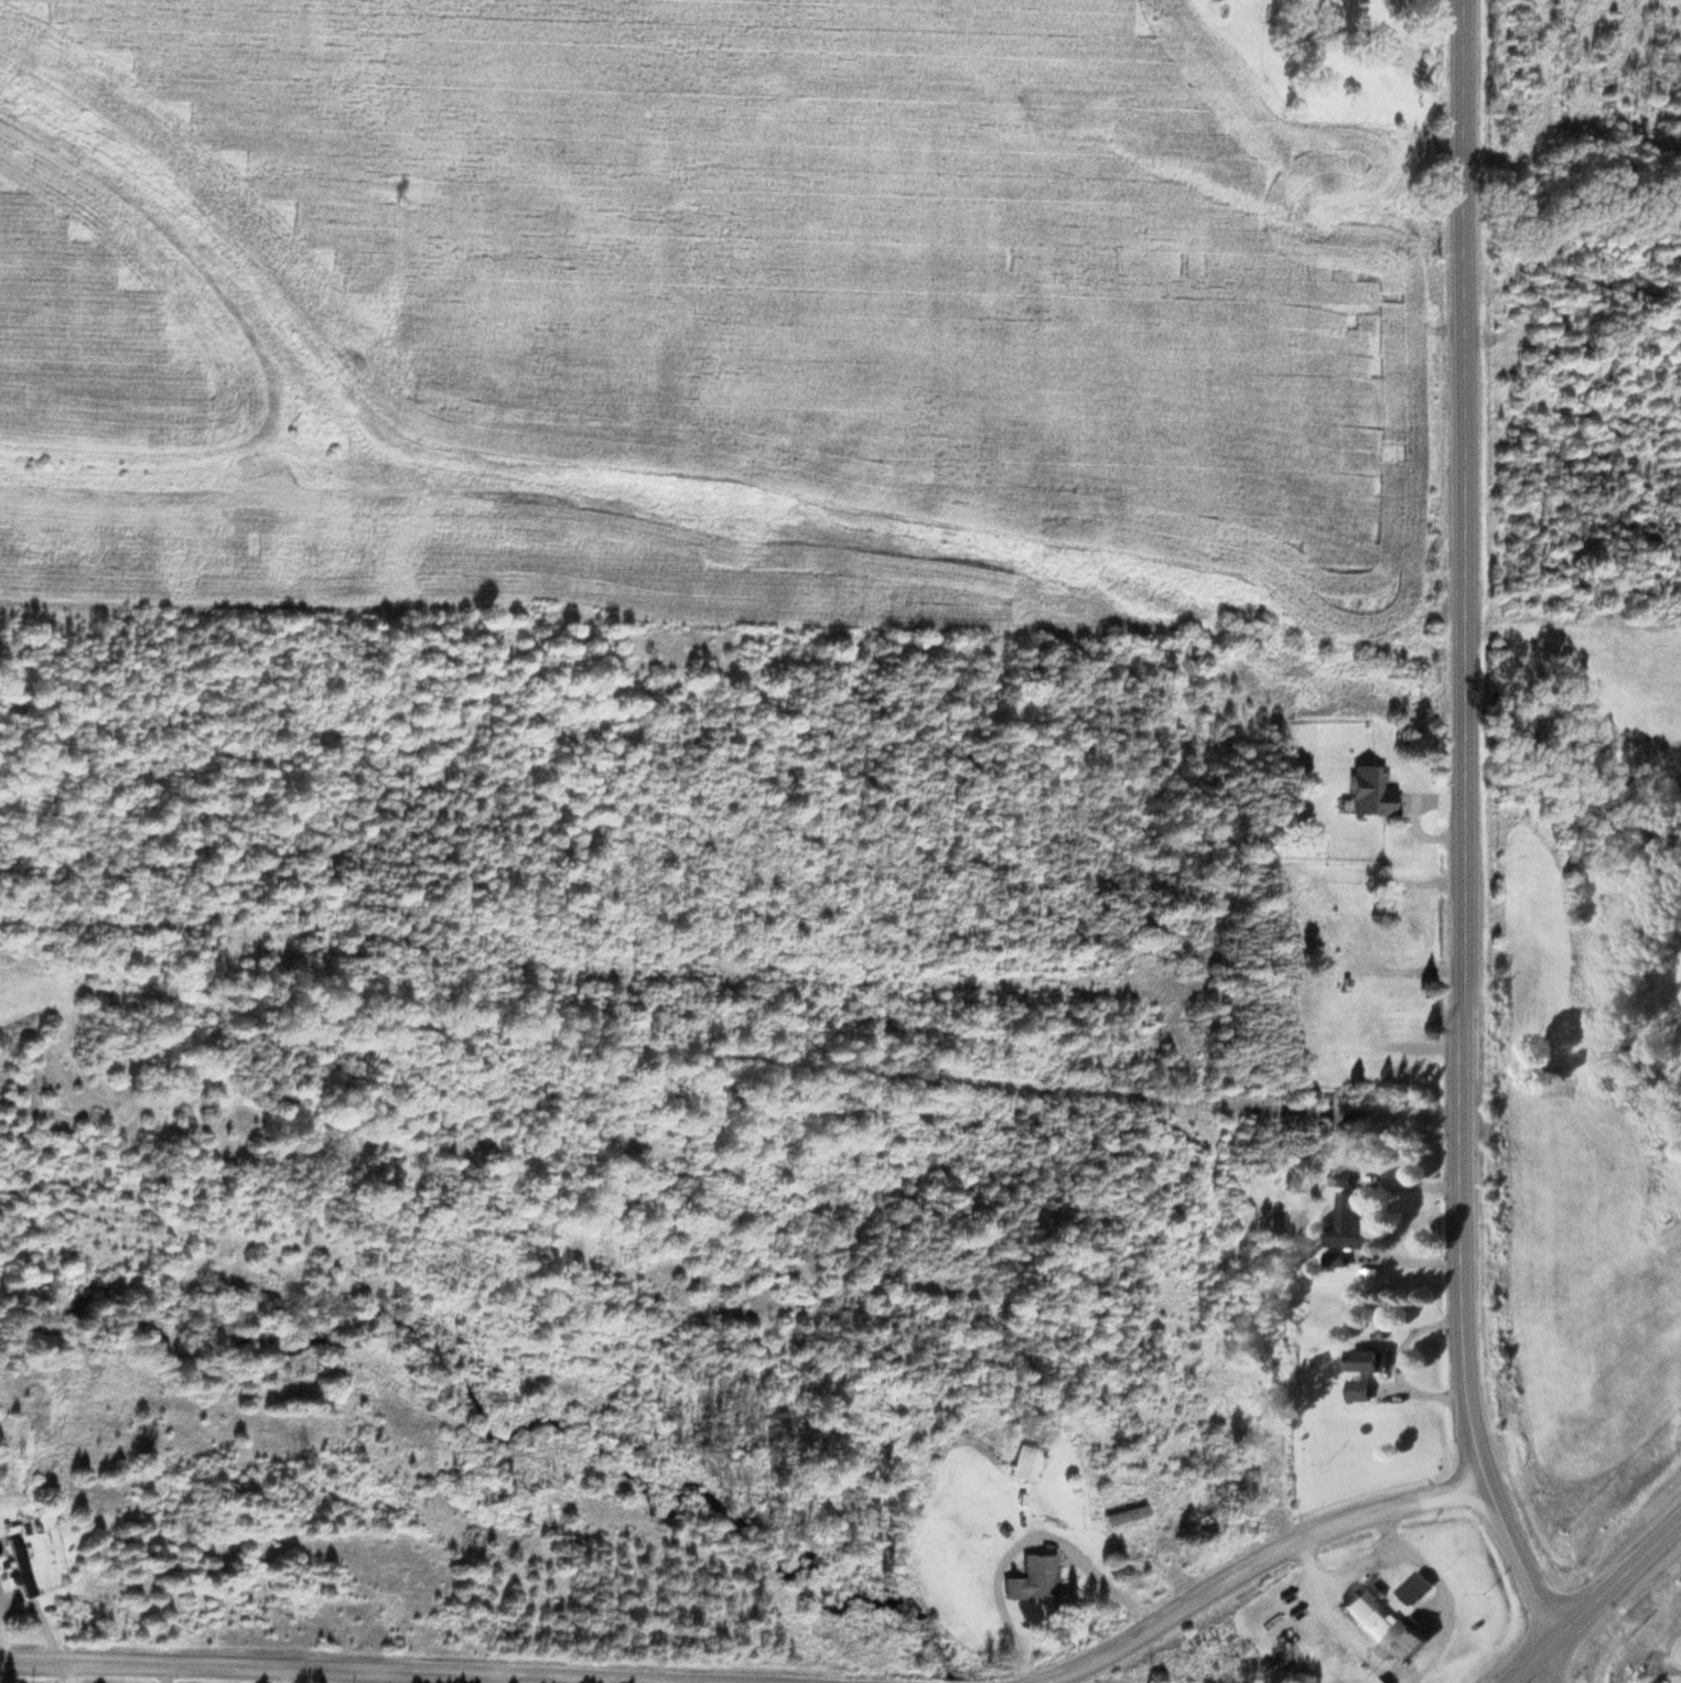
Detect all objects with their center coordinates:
building: (1378, 46)
building: (1365, 788)
road: (1457, 850)
building: (1349, 1221)
building: (1364, 1369)
building: (1023, 1459)
road: (1252, 1558)
road: (1356, 1561)
building: (15, 1562)
building: (1028, 1576)
building: (1411, 1584)
road: (1440, 1588)
road: (1588, 1596)
road: (1332, 1619)
building: (1383, 1625)
road: (326, 1671)

